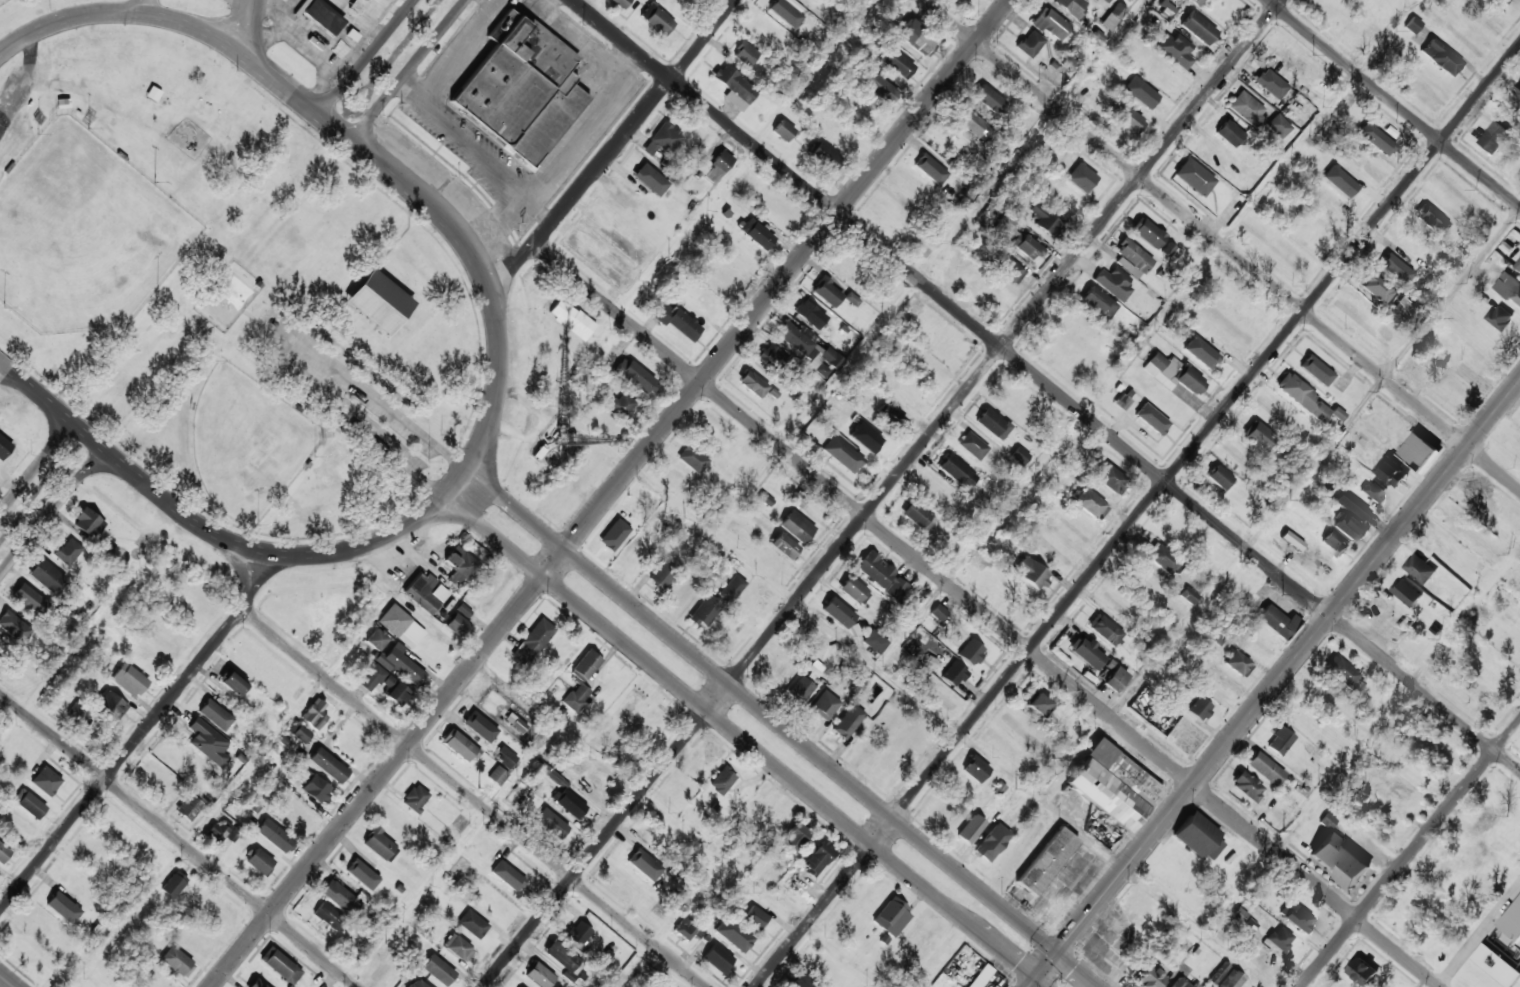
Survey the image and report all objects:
building: (1106, 1)
building: (1196, 2)
building: (1506, 2)
building: (620, 3)
road: (139, 6)
building: (358, 6)
building: (1071, 6)
road: (244, 7)
building: (784, 12)
building: (321, 15)
building: (1112, 16)
building: (657, 19)
building: (1050, 23)
building: (1412, 25)
road: (251, 28)
building: (1198, 28)
building: (914, 37)
road: (405, 41)
building: (1029, 43)
building: (1175, 50)
building: (745, 53)
road: (367, 57)
building: (1440, 57)
building: (897, 63)
road: (409, 70)
building: (1270, 83)
building: (735, 87)
building: (880, 88)
building: (1517, 89)
building: (523, 90)
building: (1140, 92)
building: (988, 98)
road: (1394, 102)
building: (1246, 108)
road: (345, 111)
building: (1126, 117)
building: (973, 125)
building: (1278, 126)
building: (782, 130)
building: (1229, 133)
building: (1494, 137)
building: (663, 139)
building: (1375, 139)
road: (613, 147)
building: (823, 155)
road: (745, 156)
building: (715, 166)
building: (930, 168)
building: (1081, 177)
building: (1194, 177)
building: (650, 179)
building: (1339, 181)
building: (1432, 220)
building: (1045, 221)
building: (1149, 233)
building: (757, 234)
building: (1019, 238)
road: (1221, 244)
building: (1167, 249)
building: (1132, 258)
road: (930, 268)
building: (1008, 269)
building: (1395, 269)
building: (1113, 283)
building: (1509, 286)
building: (1375, 287)
park: (226, 288)
building: (827, 292)
water park: (230, 299)
building: (852, 299)
building: (1098, 302)
building: (380, 303)
building: (1400, 305)
building: (810, 314)
building: (1500, 317)
building: (571, 319)
building: (676, 320)
building: (810, 348)
building: (1200, 352)
road: (292, 353)
road: (496, 358)
building: (775, 359)
building: (1316, 370)
building: (1172, 373)
building: (633, 375)
building: (752, 384)
road: (1047, 385)
building: (1301, 396)
building: (1121, 401)
road: (386, 403)
building: (622, 404)
building: (1337, 414)
building: (1151, 418)
building: (992, 423)
building: (1258, 436)
building: (869, 439)
building: (972, 445)
building: (4, 447)
building: (1417, 451)
road: (391, 454)
building: (842, 454)
building: (1019, 455)
road: (1051, 457)
building: (692, 458)
road: (36, 466)
building: (957, 471)
building: (1391, 471)
building: (1220, 478)
building: (1111, 479)
building: (1374, 490)
road: (609, 493)
road: (882, 493)
building: (1090, 504)
building: (1353, 505)
road: (1281, 507)
road: (51, 512)
road: (1138, 514)
building: (917, 515)
building: (87, 522)
building: (796, 526)
building: (1347, 527)
building: (613, 535)
building: (1291, 540)
building: (1335, 543)
building: (784, 545)
building: (68, 552)
building: (1162, 558)
building: (460, 566)
building: (1419, 568)
building: (874, 569)
building: (1030, 572)
building: (662, 575)
building: (47, 576)
building: (732, 588)
building: (895, 589)
building: (854, 590)
building: (1407, 592)
building: (425, 593)
building: (1188, 595)
building: (27, 597)
road: (239, 608)
building: (463, 610)
building: (704, 611)
building: (838, 612)
building: (938, 612)
road: (987, 616)
building: (1276, 621)
building: (399, 624)
building: (457, 625)
building: (14, 626)
building: (1104, 629)
building: (376, 639)
building: (875, 641)
building: (533, 642)
building: (970, 652)
building: (1087, 652)
building: (1236, 663)
building: (585, 666)
building: (812, 670)
building: (953, 674)
building: (1344, 674)
building: (1114, 679)
building: (129, 680)
building: (232, 682)
road: (1274, 684)
building: (384, 685)
building: (800, 689)
building: (576, 697)
road: (1397, 702)
building: (111, 704)
building: (1037, 704)
building: (824, 705)
building: (1200, 708)
building: (79, 710)
building: (214, 714)
building: (314, 714)
building: (848, 721)
building: (515, 723)
building: (480, 726)
road: (11, 727)
road: (782, 727)
road: (950, 727)
building: (300, 732)
road: (744, 741)
building: (1279, 741)
building: (207, 742)
building: (459, 745)
building: (504, 756)
road: (120, 760)
building: (328, 765)
building: (974, 768)
building: (1265, 768)
building: (497, 775)
building: (46, 781)
building: (722, 781)
building: (1112, 785)
building: (1246, 786)
building: (316, 788)
building: (415, 797)
road: (471, 797)
building: (565, 797)
building: (29, 803)
building: (189, 807)
building: (551, 823)
building: (220, 829)
building: (970, 829)
road: (198, 831)
building: (233, 833)
building: (274, 835)
building: (794, 836)
building: (1198, 837)
road: (180, 840)
building: (991, 842)
building: (380, 845)
road: (1411, 852)
building: (3, 853)
building: (817, 858)
building: (1339, 860)
building: (259, 861)
building: (1046, 861)
building: (644, 864)
building: (362, 873)
building: (508, 875)
building: (174, 884)
road: (758, 888)
building: (343, 897)
road: (416, 898)
building: (63, 907)
building: (329, 916)
building: (754, 917)
building: (891, 917)
building: (1296, 917)
building: (1243, 919)
building: (1513, 922)
building: (472, 924)
building: (686, 929)
building: (577, 933)
building: (732, 934)
road: (1478, 936)
building: (1280, 938)
building: (458, 947)
building: (560, 956)
building: (717, 958)
building: (177, 961)
building: (1497, 964)
building: (280, 965)
road: (635, 966)
building: (438, 970)
building: (1362, 971)
building: (1217, 973)
building: (539, 976)
building: (979, 976)
building: (1150, 977)
building: (1231, 979)
road: (7, 981)
building: (800, 982)
building: (1181, 982)
building: (256, 984)
building: (416, 984)

